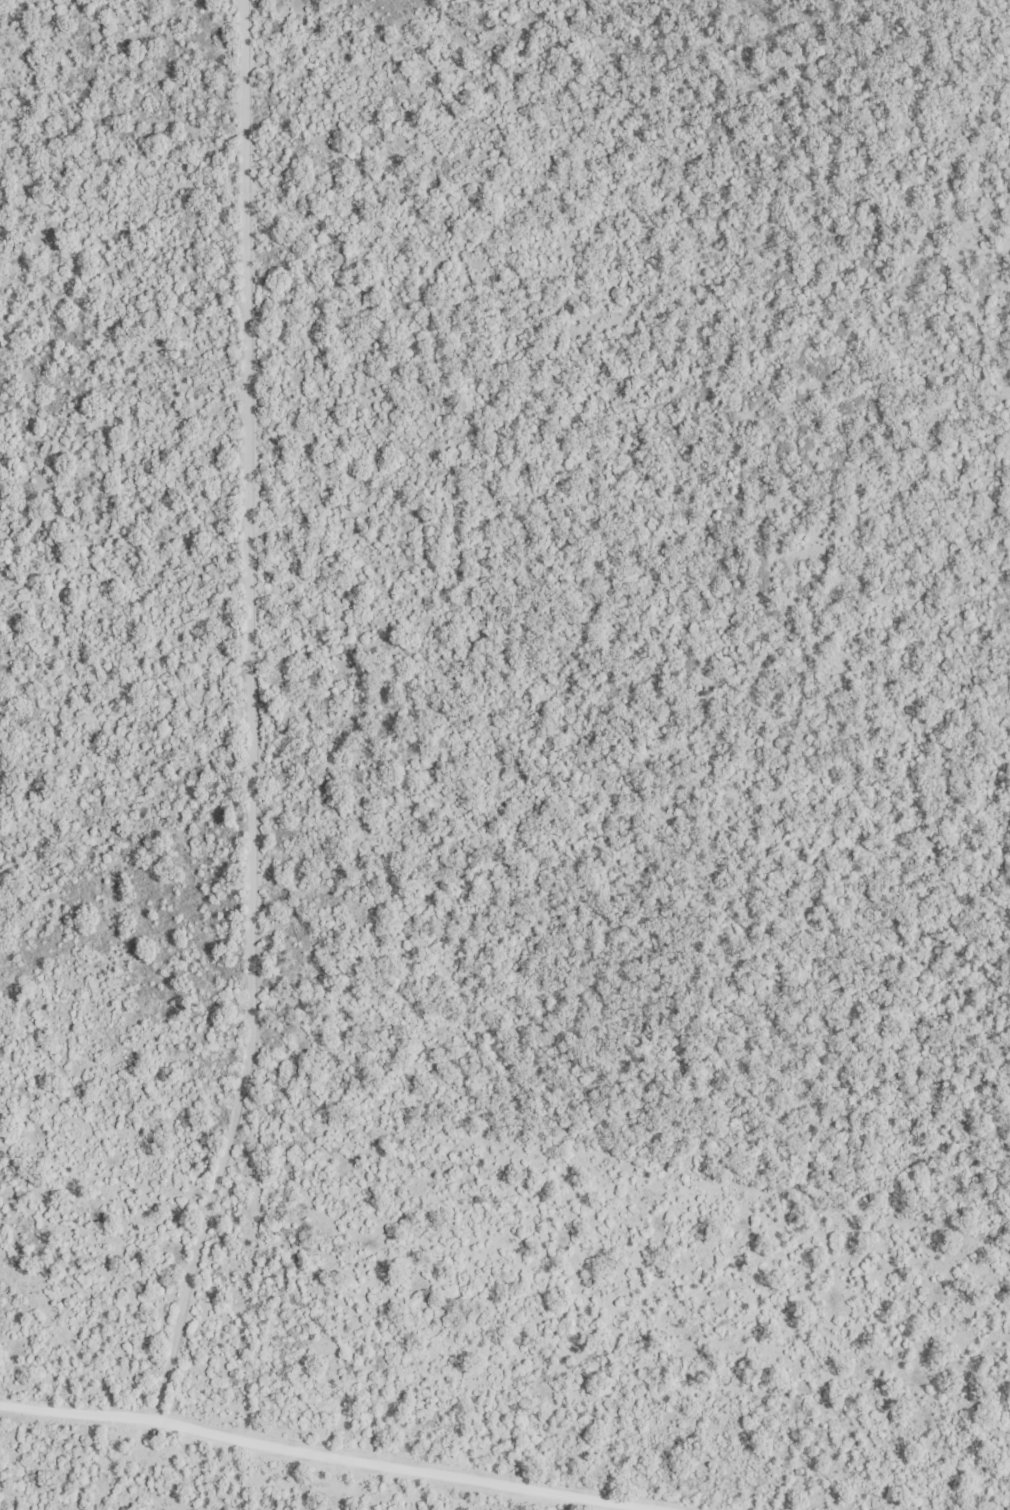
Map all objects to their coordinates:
road: (335, 1453)

